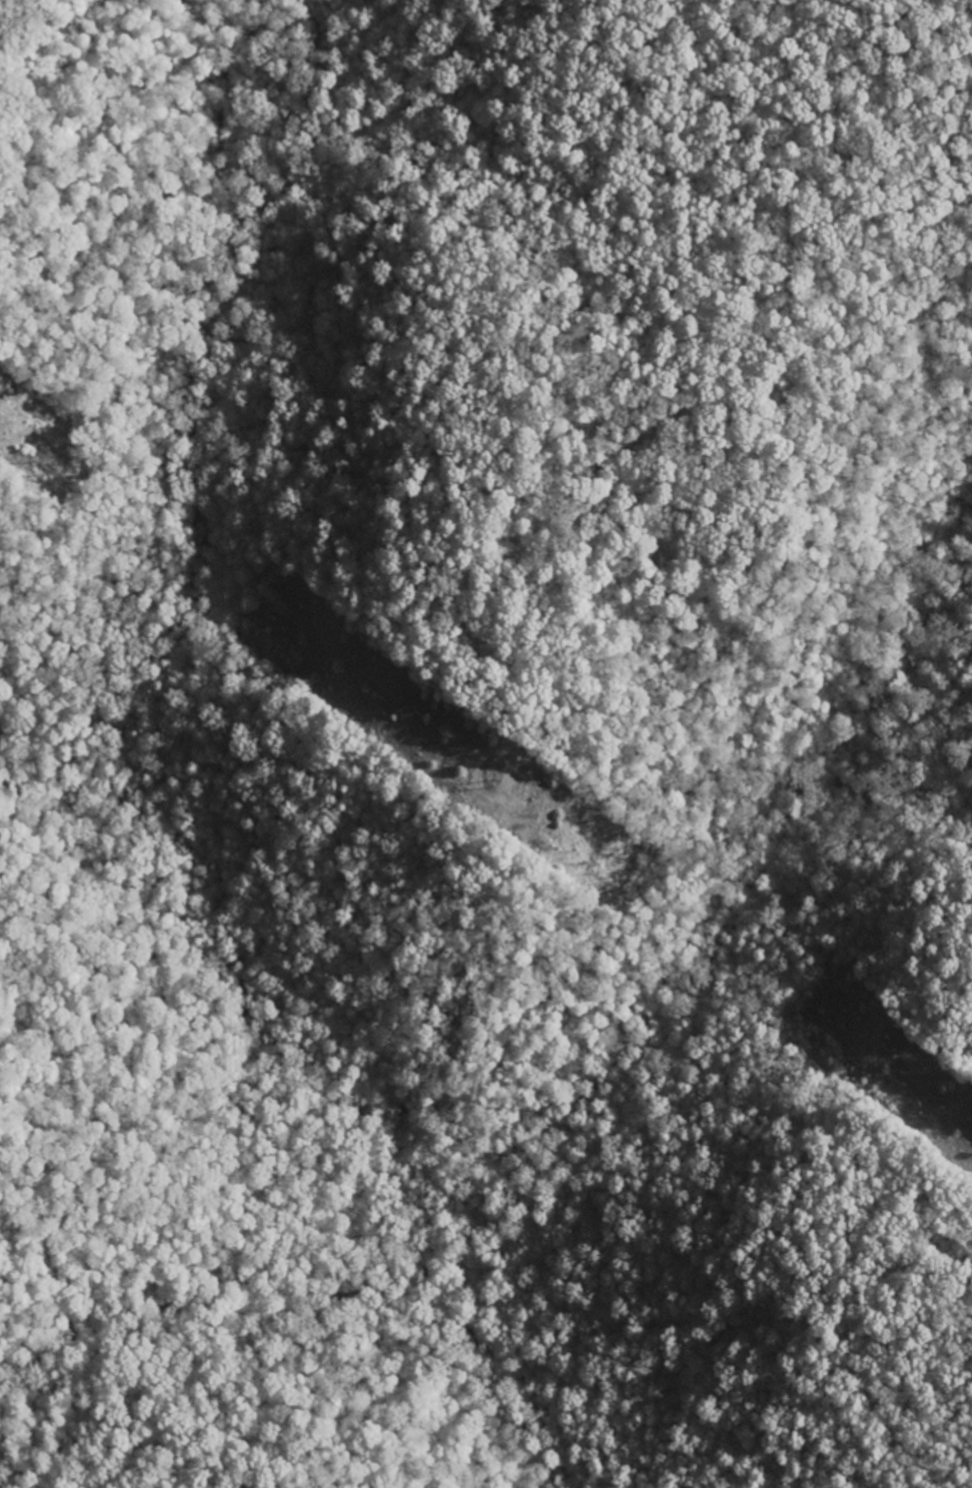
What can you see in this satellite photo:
power tower: (493, 780)

